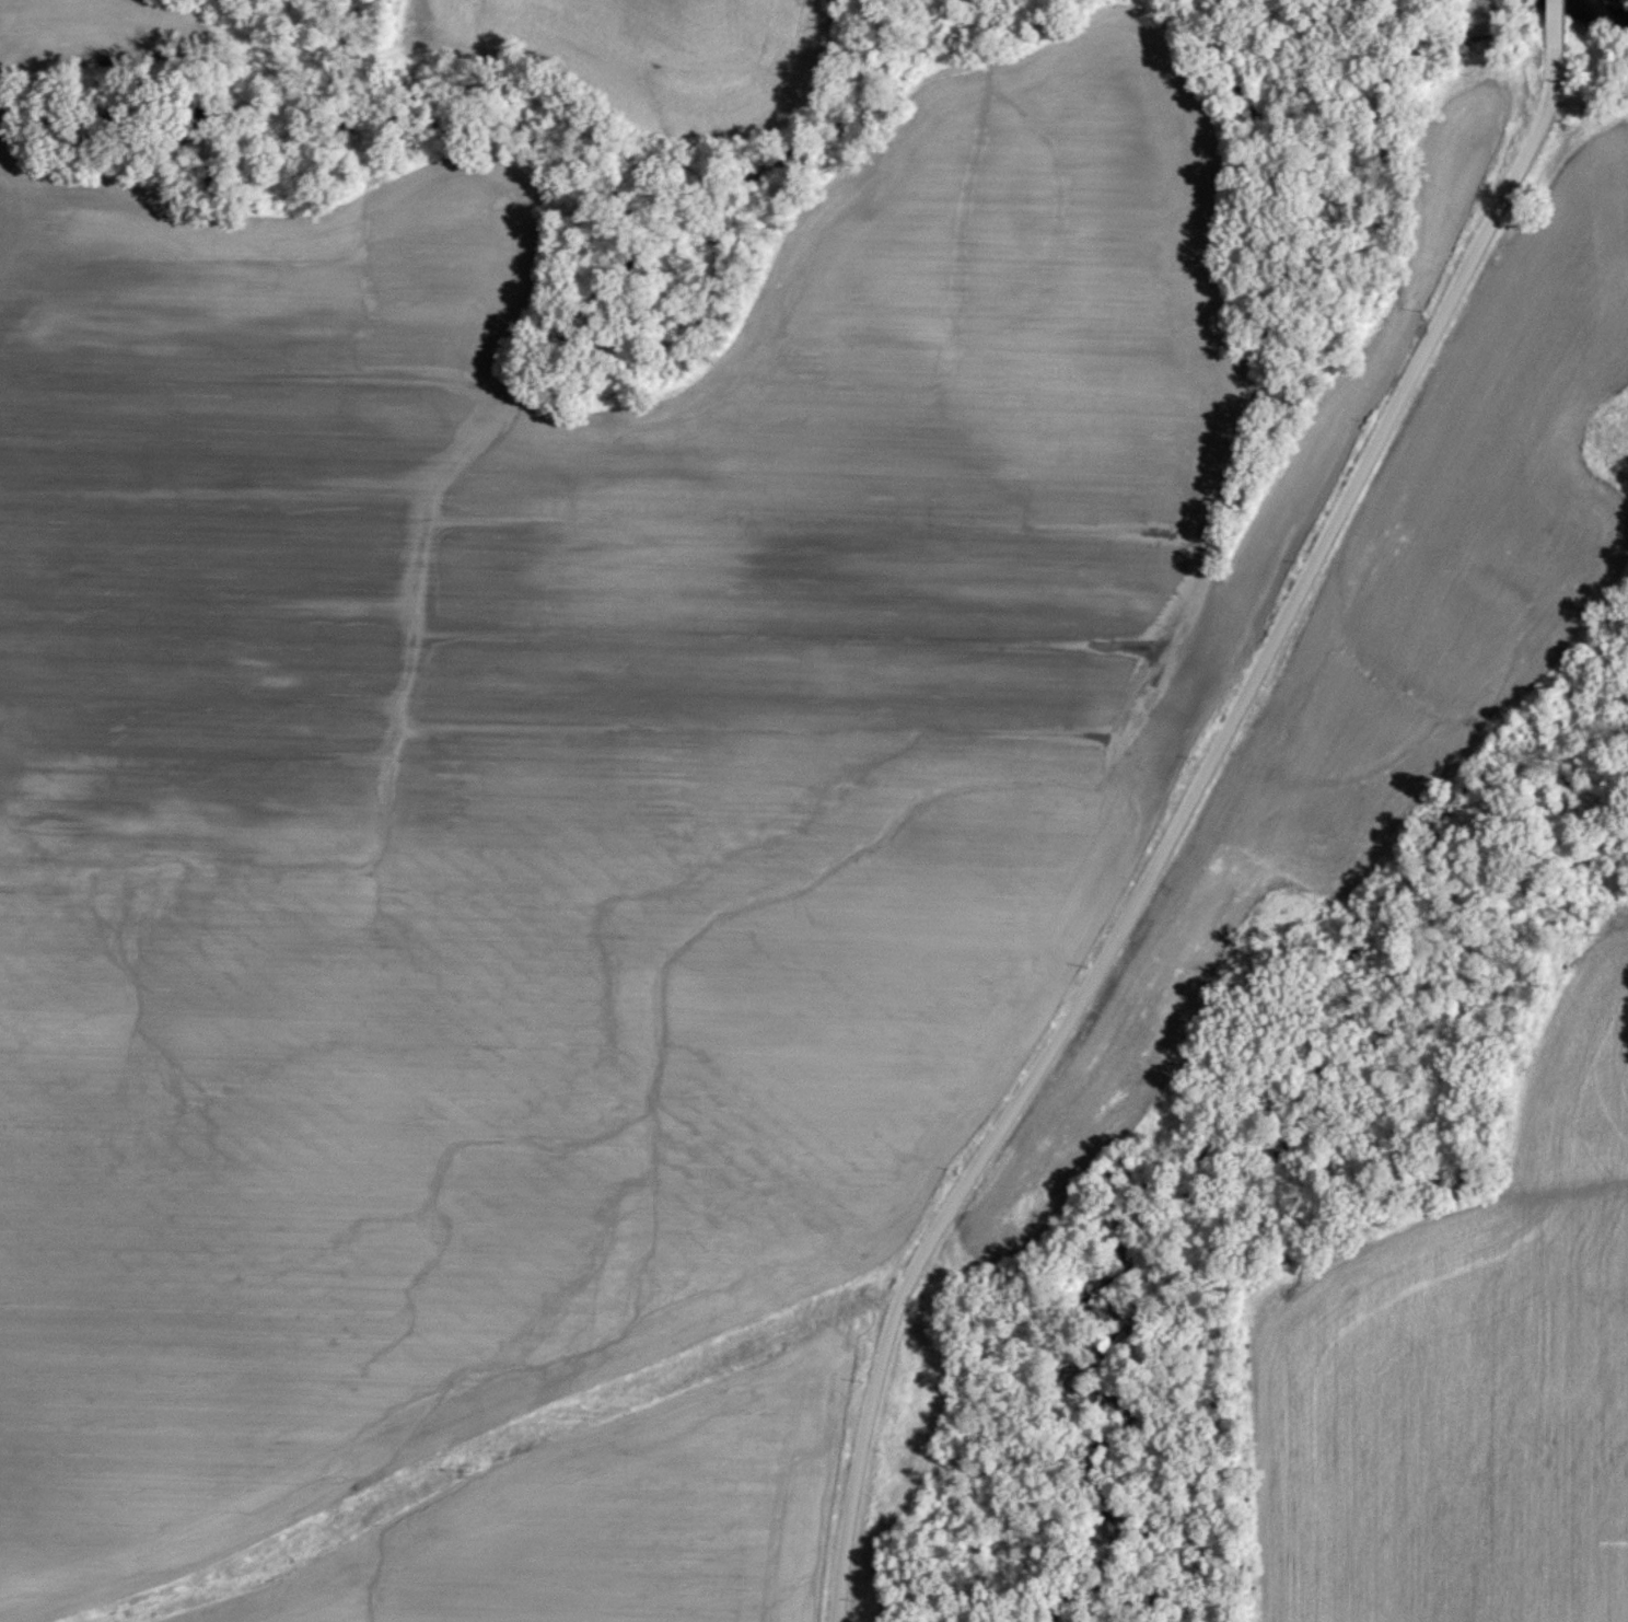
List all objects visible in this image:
road: (1184, 810)

